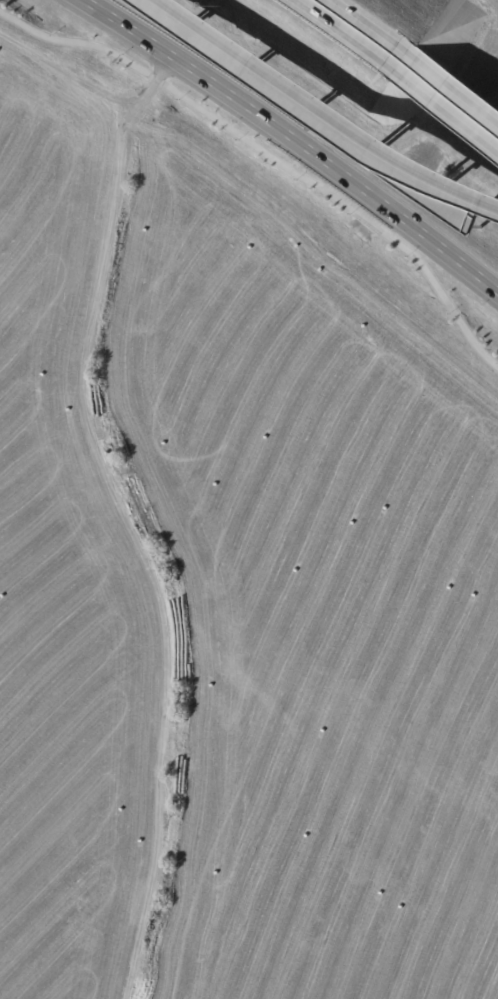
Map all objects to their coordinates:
road: (371, 25)
road: (343, 34)
road: (452, 85)
road: (296, 90)
road: (446, 109)
road: (298, 137)
road: (271, 158)
road: (465, 193)

